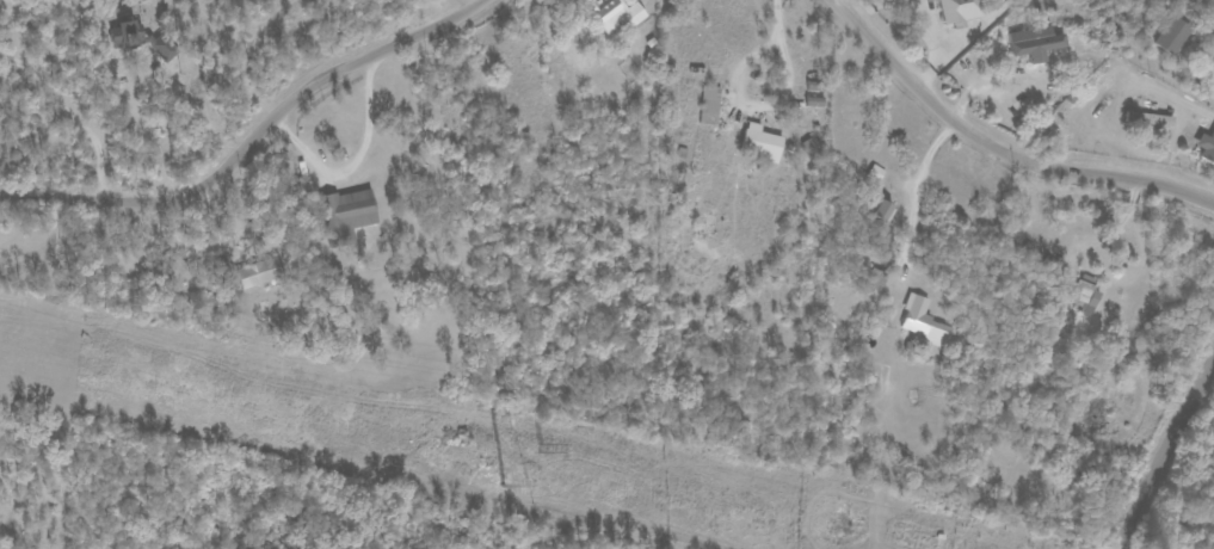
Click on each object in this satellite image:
road: (462, 6)
road: (986, 6)
building: (960, 11)
building: (617, 13)
road: (930, 27)
building: (1172, 36)
building: (138, 39)
building: (1035, 43)
building: (709, 105)
building: (1148, 119)
road: (66, 121)
road: (253, 136)
building: (760, 142)
building: (1207, 147)
building: (812, 148)
road: (996, 152)
road: (352, 160)
building: (874, 173)
road: (919, 192)
building: (351, 211)
building: (885, 211)
building: (259, 272)
building: (1085, 295)
building: (923, 322)
road: (1165, 451)
power tower: (542, 452)
power tower: (488, 485)

